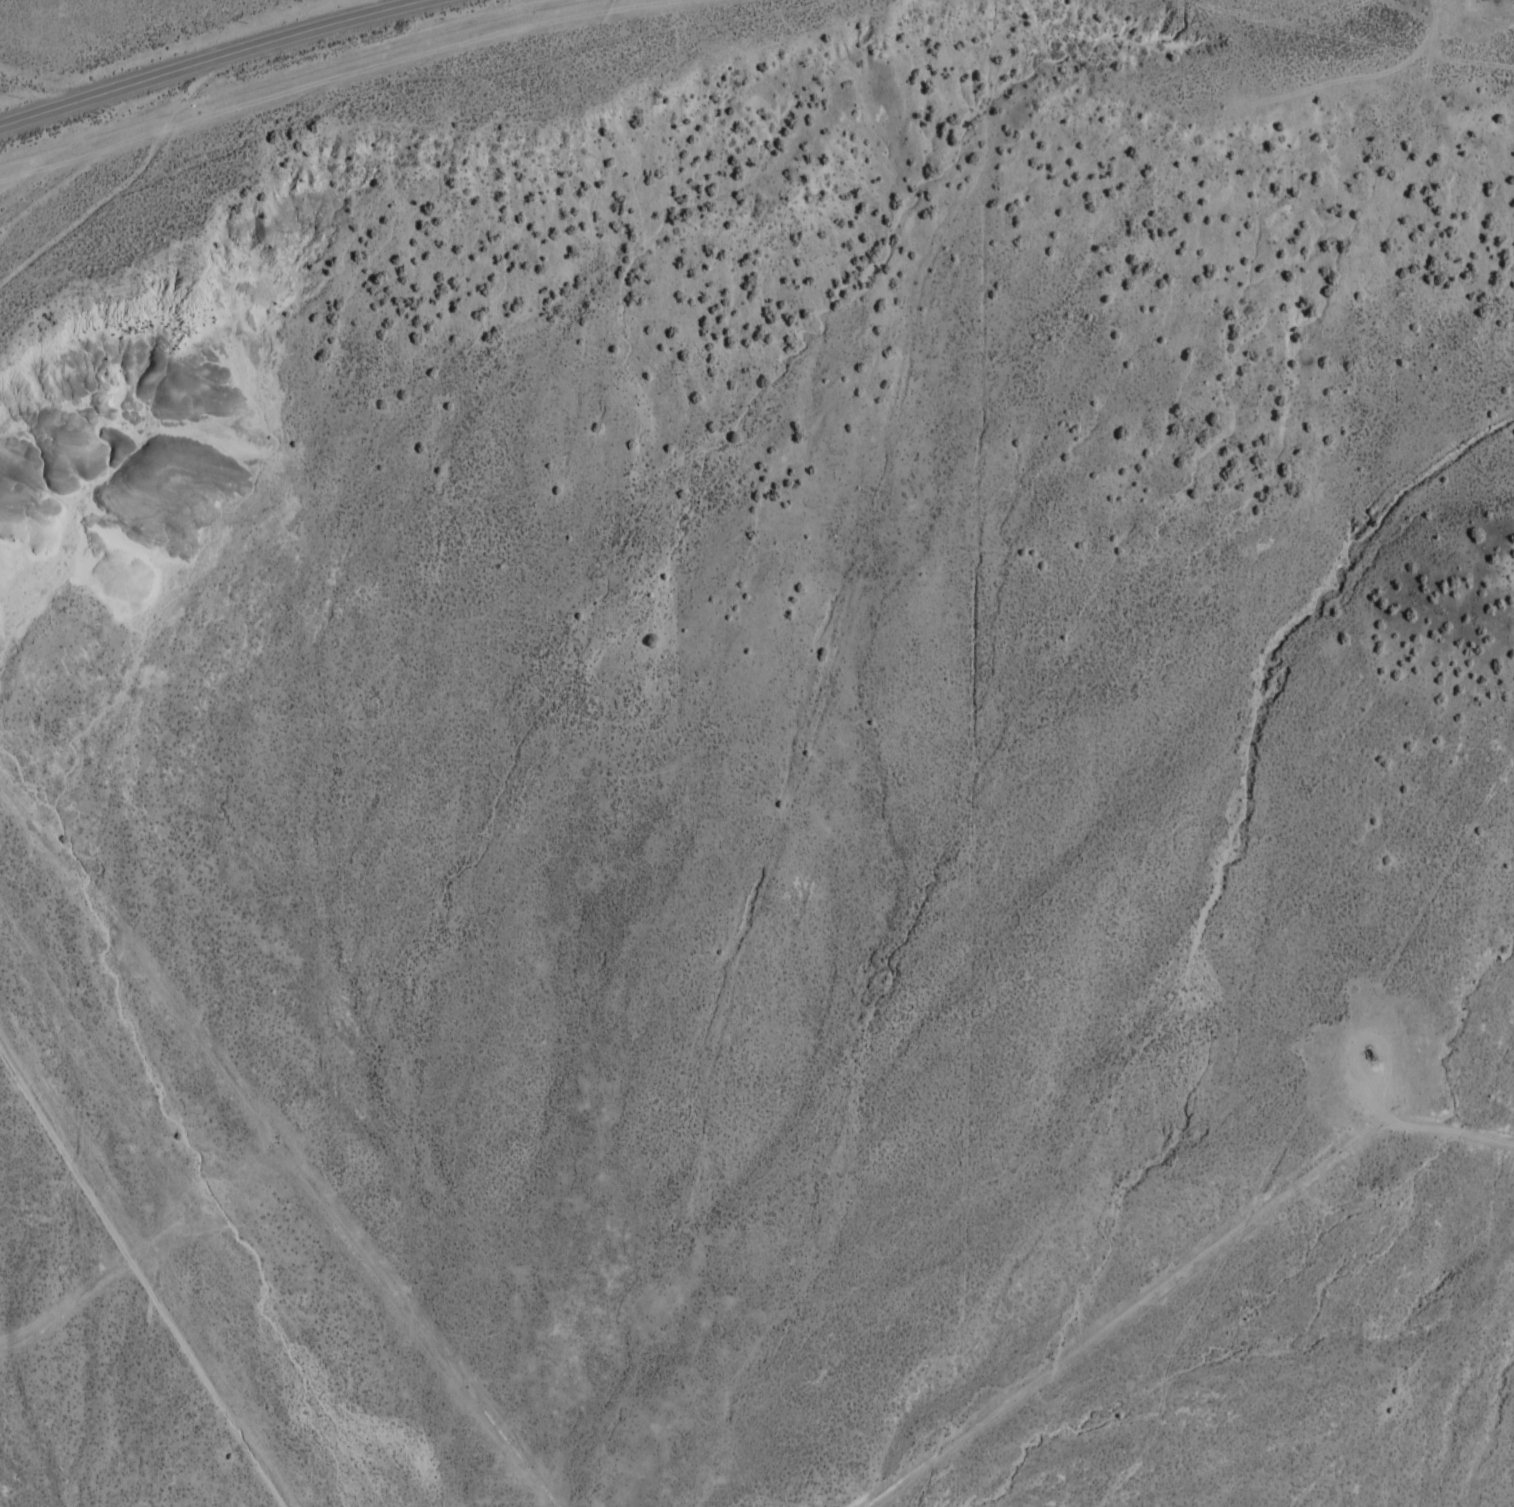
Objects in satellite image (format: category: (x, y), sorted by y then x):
road: (213, 58)
road: (142, 1278)

